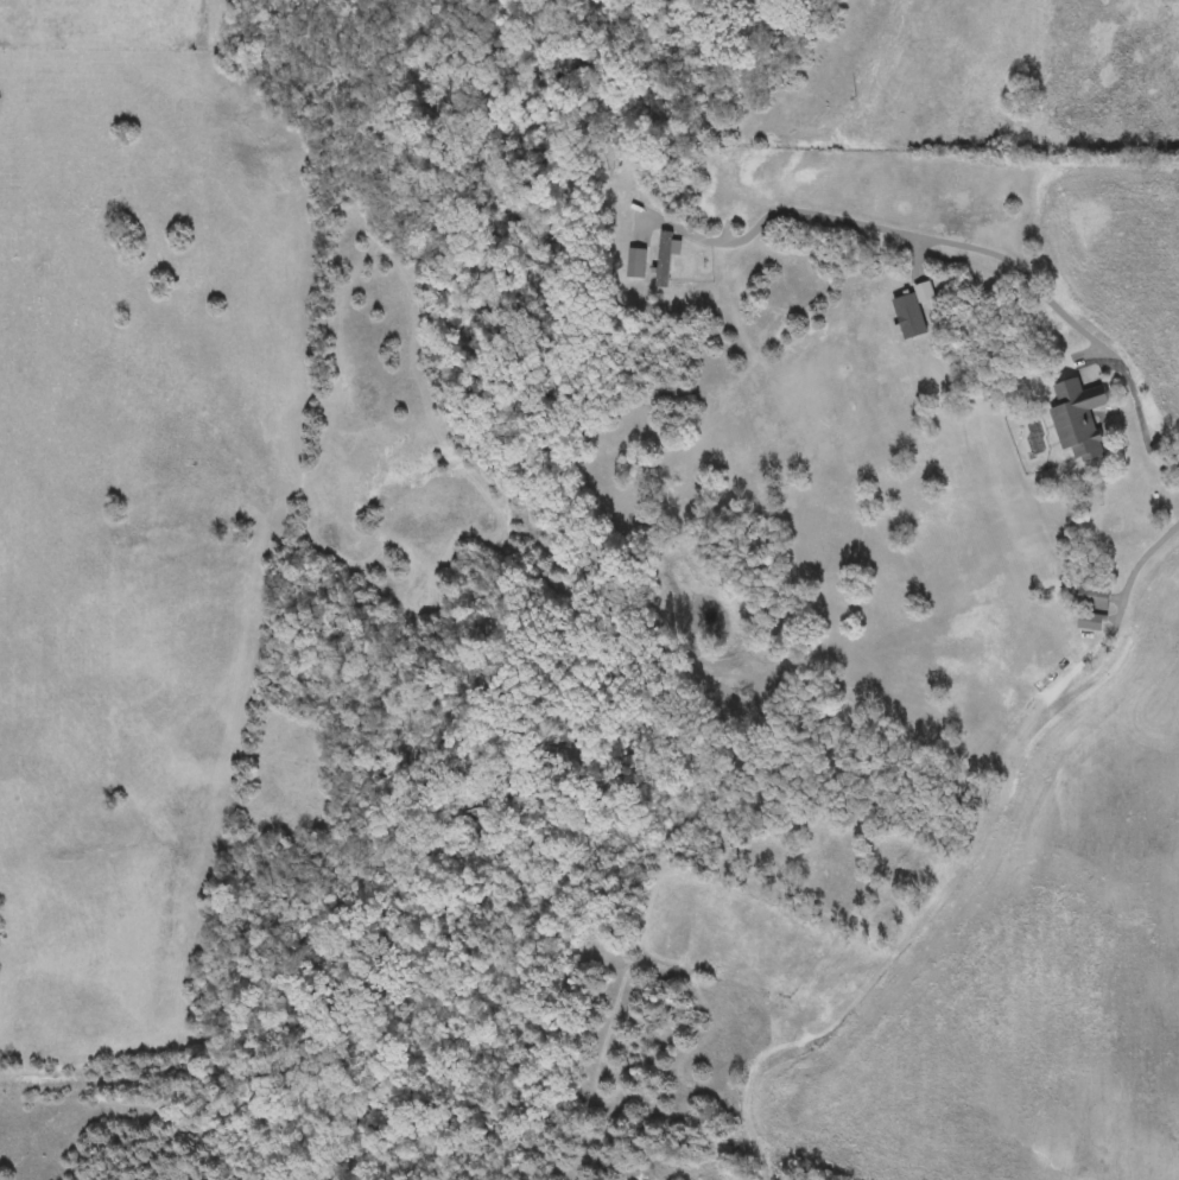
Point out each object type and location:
road: (959, 245)
building: (1075, 418)
road: (1075, 1129)

